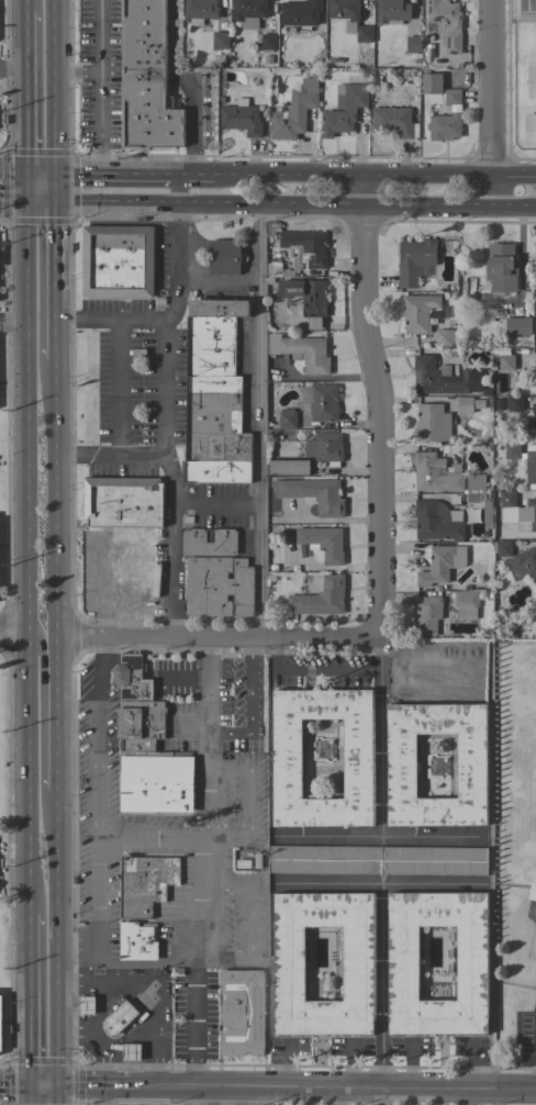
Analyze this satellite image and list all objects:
building: (528, 4)
road: (26, 5)
building: (200, 11)
building: (248, 12)
building: (300, 12)
building: (345, 12)
building: (392, 12)
building: (446, 23)
building: (268, 26)
building: (535, 33)
building: (364, 34)
building: (220, 40)
building: (267, 42)
building: (413, 44)
building: (267, 59)
building: (336, 60)
road: (12, 65)
building: (456, 66)
building: (367, 72)
building: (313, 74)
building: (454, 75)
building: (146, 79)
building: (462, 80)
road: (190, 81)
building: (373, 81)
building: (532, 81)
building: (432, 83)
road: (55, 87)
road: (100, 87)
road: (491, 89)
road: (24, 91)
building: (451, 97)
building: (221, 100)
building: (433, 109)
building: (344, 110)
building: (294, 111)
building: (241, 118)
building: (392, 120)
building: (445, 125)
building: (531, 129)
road: (12, 172)
traffic signals: (24, 174)
road: (40, 174)
traffic signals: (55, 175)
road: (135, 175)
road: (353, 176)
road: (513, 178)
road: (24, 187)
road: (491, 191)
traffic signals: (24, 201)
road: (27, 201)
traffic signals: (56, 201)
road: (273, 202)
road: (513, 203)
road: (56, 233)
building: (304, 248)
parking lot: (161, 257)
building: (225, 257)
building: (414, 259)
building: (118, 261)
building: (502, 268)
building: (272, 271)
building: (533, 287)
parking lot: (216, 293)
building: (535, 299)
building: (306, 300)
road: (175, 303)
building: (219, 308)
building: (417, 312)
road: (13, 322)
road: (58, 326)
building: (518, 326)
building: (444, 337)
building: (302, 351)
building: (506, 362)
building: (535, 368)
building: (443, 378)
rooftop solar panel: (417, 379)
rooftop solar panel: (451, 383)
parking lot: (137, 387)
road: (119, 388)
rooftop solar panel: (431, 389)
rooftop solar panel: (451, 390)
building: (321, 401)
building: (514, 403)
road: (380, 404)
building: (478, 404)
building: (498, 404)
building: (213, 405)
building: (465, 405)
building: (534, 408)
road: (26, 412)
road: (258, 418)
building: (287, 418)
building: (531, 422)
building: (432, 423)
road: (168, 443)
building: (325, 448)
building: (512, 451)
building: (289, 467)
building: (531, 467)
building: (436, 473)
road: (172, 478)
building: (476, 482)
building: (313, 494)
building: (506, 499)
road: (58, 500)
building: (123, 502)
road: (216, 503)
parking lot: (220, 506)
building: (527, 513)
building: (437, 521)
building: (489, 525)
road: (134, 536)
building: (224, 537)
building: (323, 543)
building: (502, 548)
building: (523, 563)
building: (439, 565)
road: (171, 569)
building: (133, 577)
building: (219, 587)
road: (99, 588)
building: (321, 598)
building: (466, 604)
building: (427, 615)
road: (14, 624)
road: (29, 635)
road: (242, 636)
road: (81, 638)
road: (14, 644)
building: (448, 655)
rooftop solar panel: (134, 659)
road: (313, 670)
building: (131, 679)
rooftop solar panel: (125, 692)
road: (43, 710)
road: (257, 714)
road: (58, 715)
building: (141, 719)
road: (380, 736)
road: (103, 738)
road: (208, 738)
building: (137, 745)
building: (357, 759)
building: (401, 766)
road: (27, 781)
building: (156, 782)
road: (210, 839)
building: (377, 860)
building: (145, 883)
building: (533, 886)
road: (59, 939)
building: (137, 941)
building: (289, 963)
building: (403, 963)
road: (383, 985)
building: (517, 997)
road: (27, 1002)
building: (86, 1005)
road: (101, 1005)
building: (242, 1013)
building: (119, 1018)
building: (1, 1023)
building: (132, 1052)
road: (13, 1086)
traffic signals: (27, 1086)
road: (44, 1086)
traffic signals: (60, 1086)
road: (93, 1086)
road: (331, 1087)
road: (27, 1095)
road: (59, 1095)
road: (212, 1096)
road: (238, 1096)
road: (337, 1096)
road: (471, 1096)

